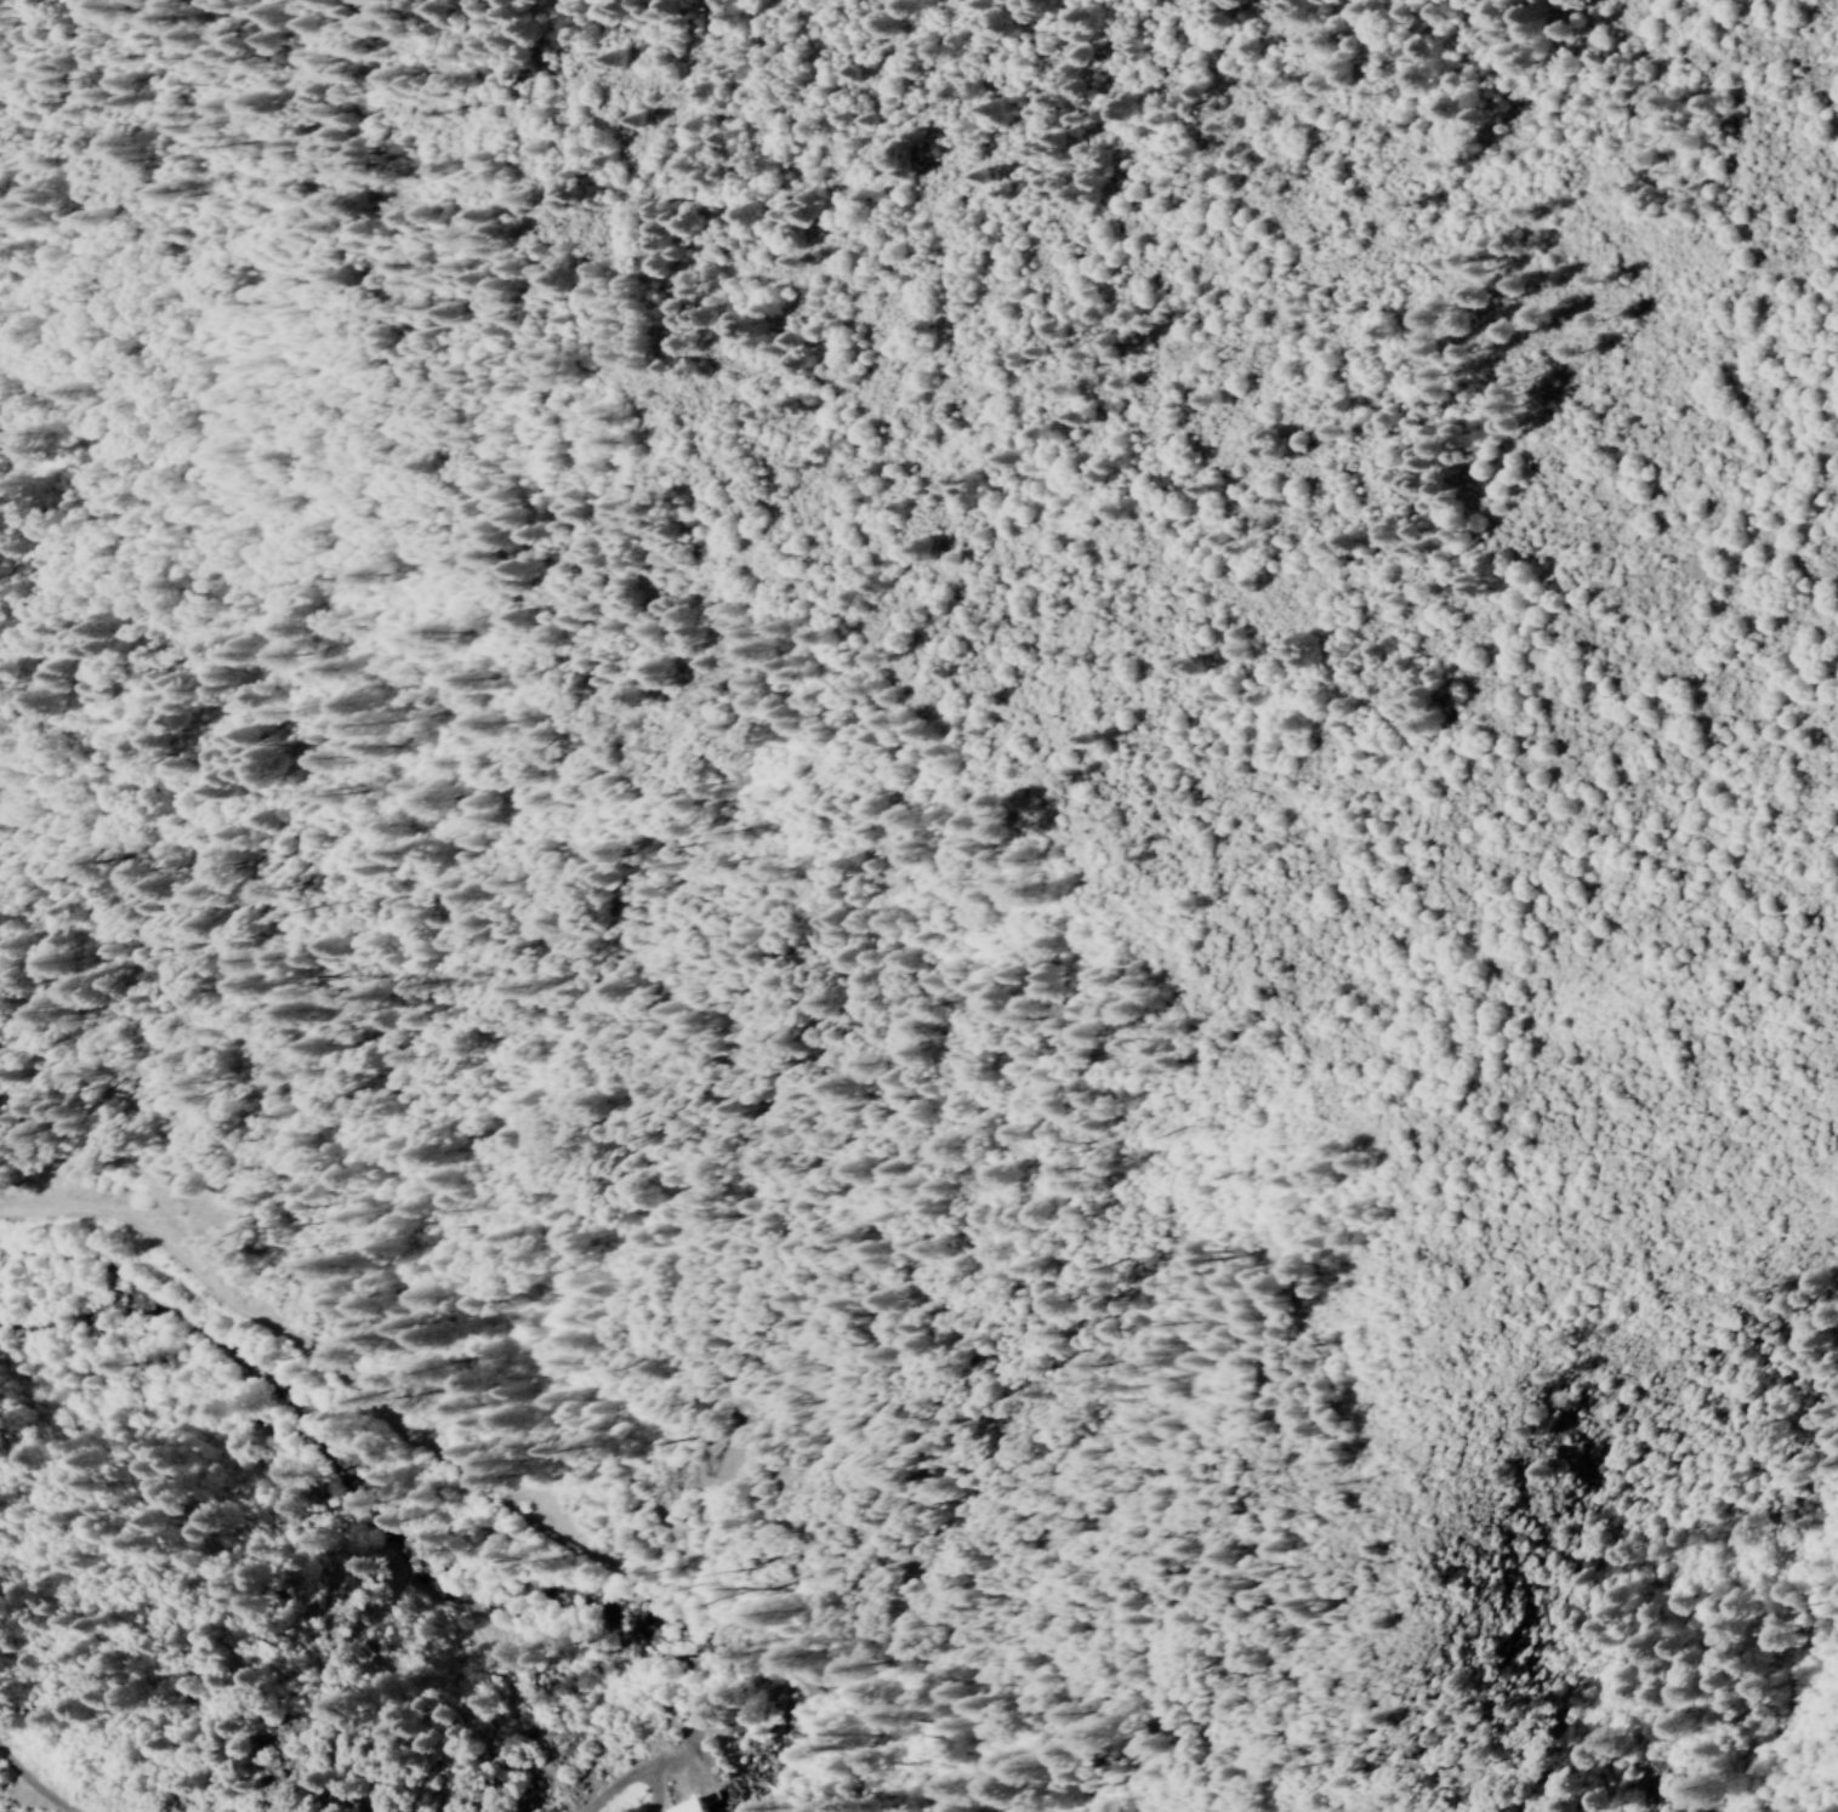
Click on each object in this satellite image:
building: (679, 1806)

